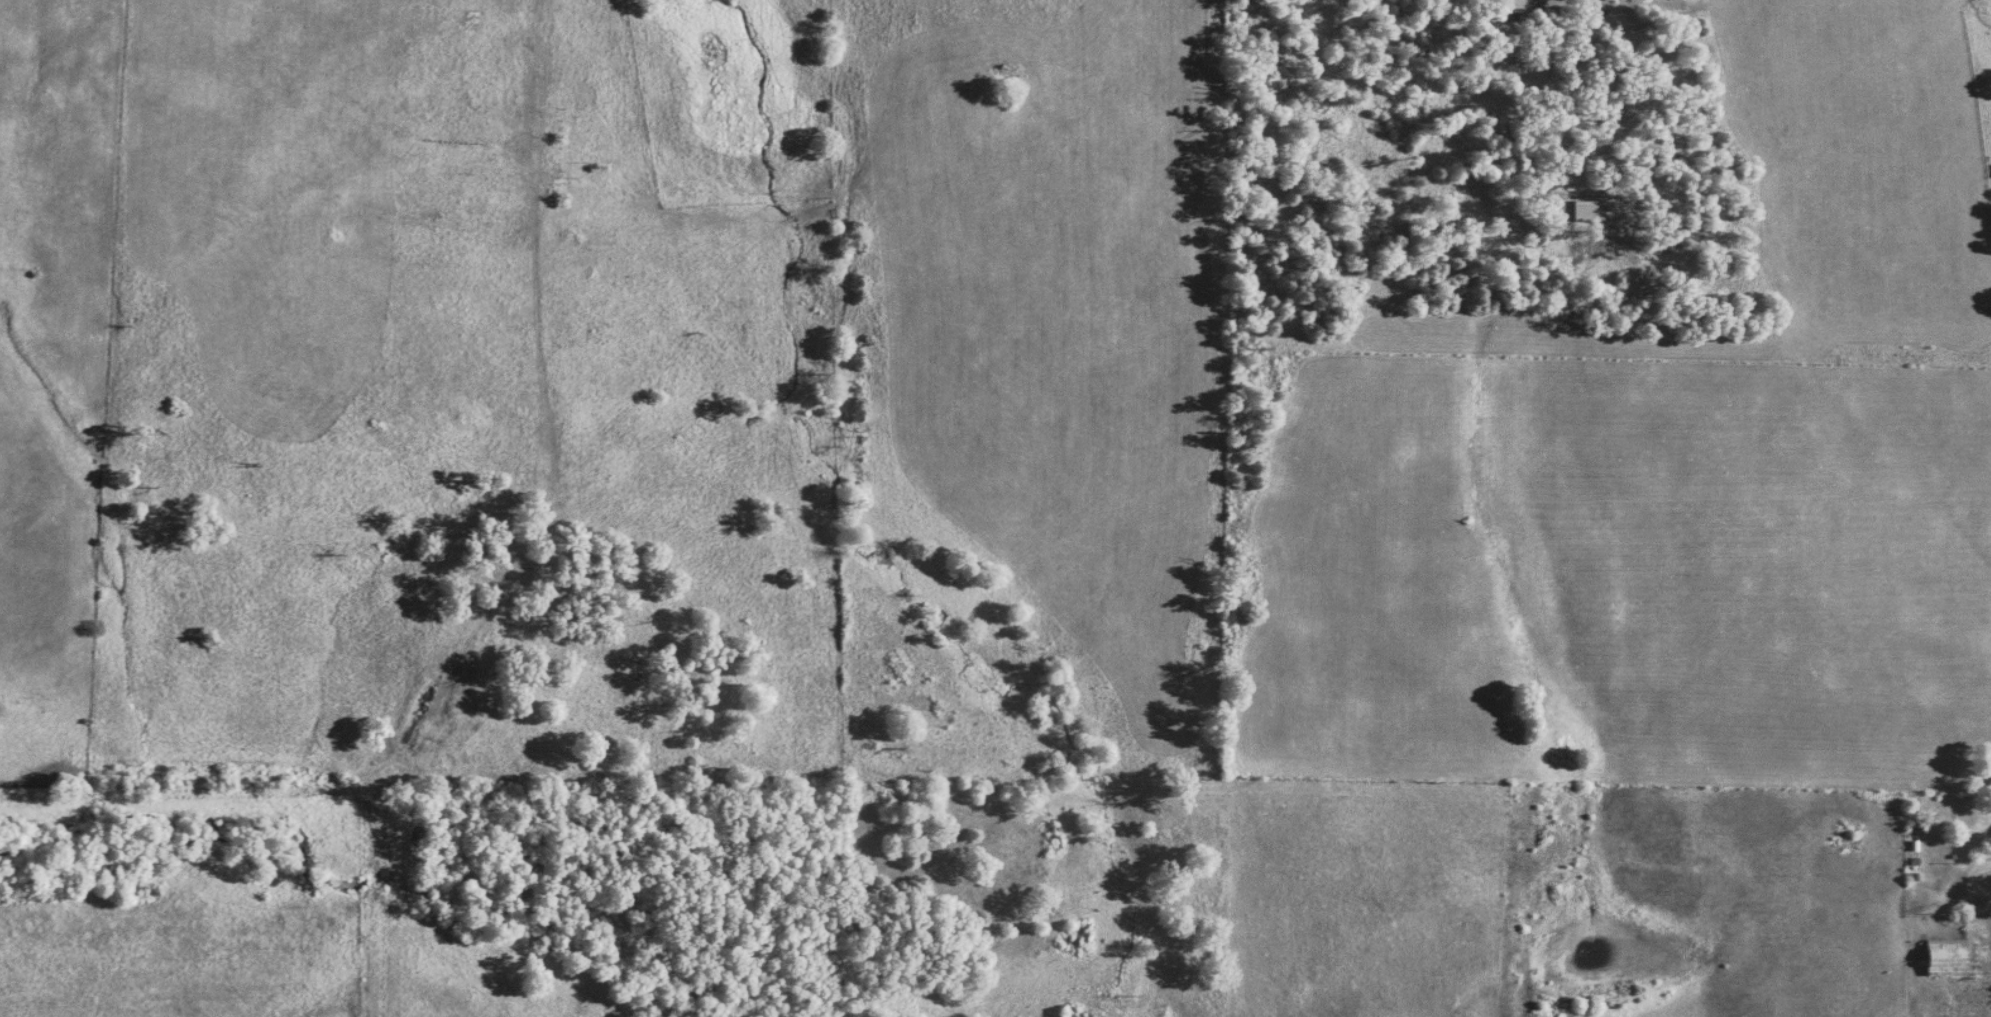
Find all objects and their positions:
building: (1522, 6)
road: (1561, 83)
building: (1587, 211)
road: (1975, 890)
building: (1943, 957)

